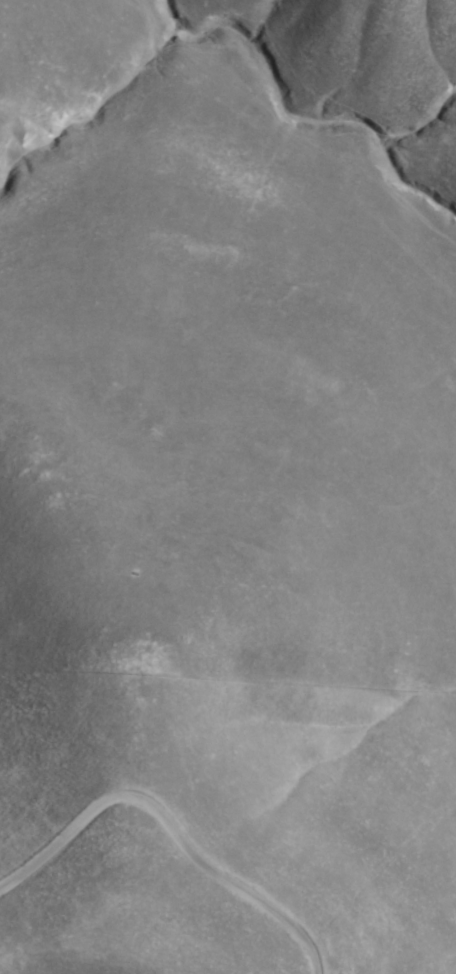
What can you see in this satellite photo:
road: (160, 818)

